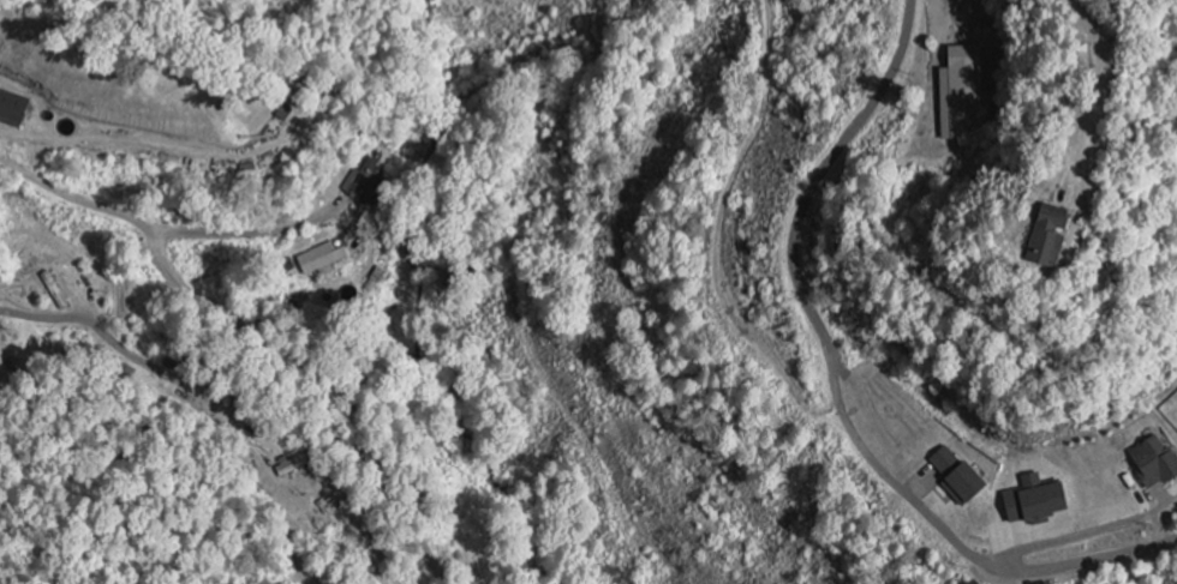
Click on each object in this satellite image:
building: (958, 94)
building: (12, 108)
building: (1017, 230)
building: (319, 259)
road: (184, 291)
road: (359, 457)
building: (1152, 463)
building: (289, 466)
building: (954, 476)
building: (1030, 500)
road: (1129, 554)

